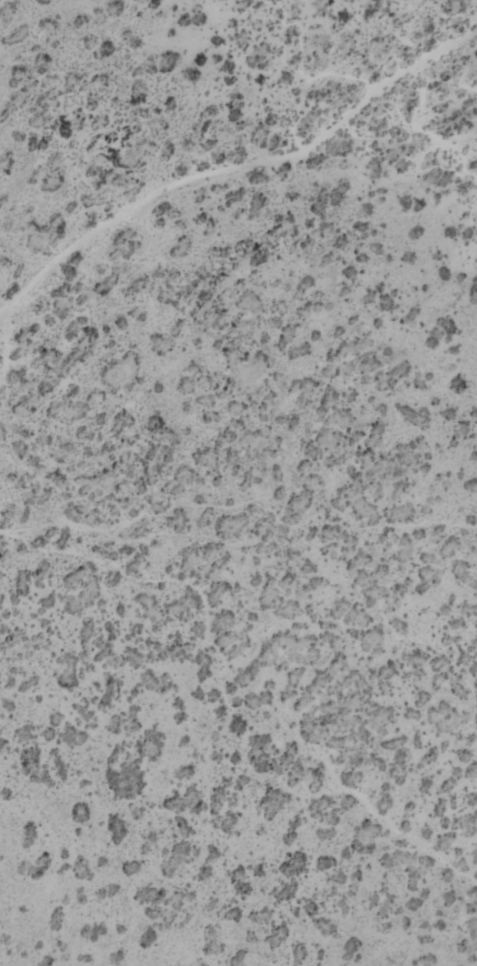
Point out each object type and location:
road: (222, 122)

